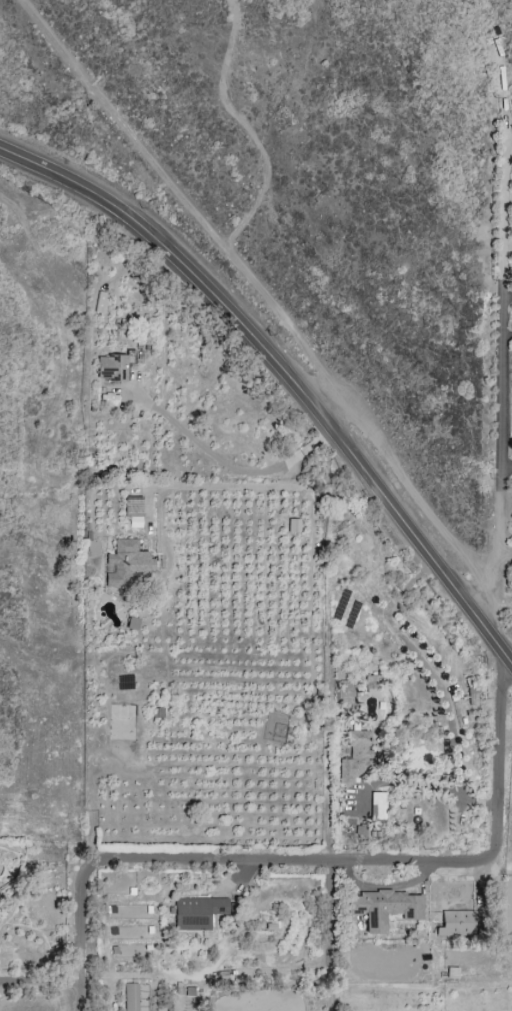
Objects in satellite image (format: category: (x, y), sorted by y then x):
road: (246, 127)
road: (29, 163)
road: (503, 184)
road: (192, 208)
road: (507, 295)
building: (100, 302)
road: (506, 335)
building: (113, 366)
road: (305, 400)
road: (501, 446)
road: (506, 461)
road: (230, 466)
road: (416, 494)
road: (506, 501)
building: (293, 526)
road: (504, 548)
building: (130, 562)
road: (501, 602)
building: (131, 624)
road: (21, 652)
building: (371, 682)
building: (356, 756)
building: (377, 806)
building: (360, 830)
road: (315, 857)
building: (384, 908)
building: (198, 913)
building: (456, 923)
road: (328, 934)
road: (43, 980)
building: (130, 997)

